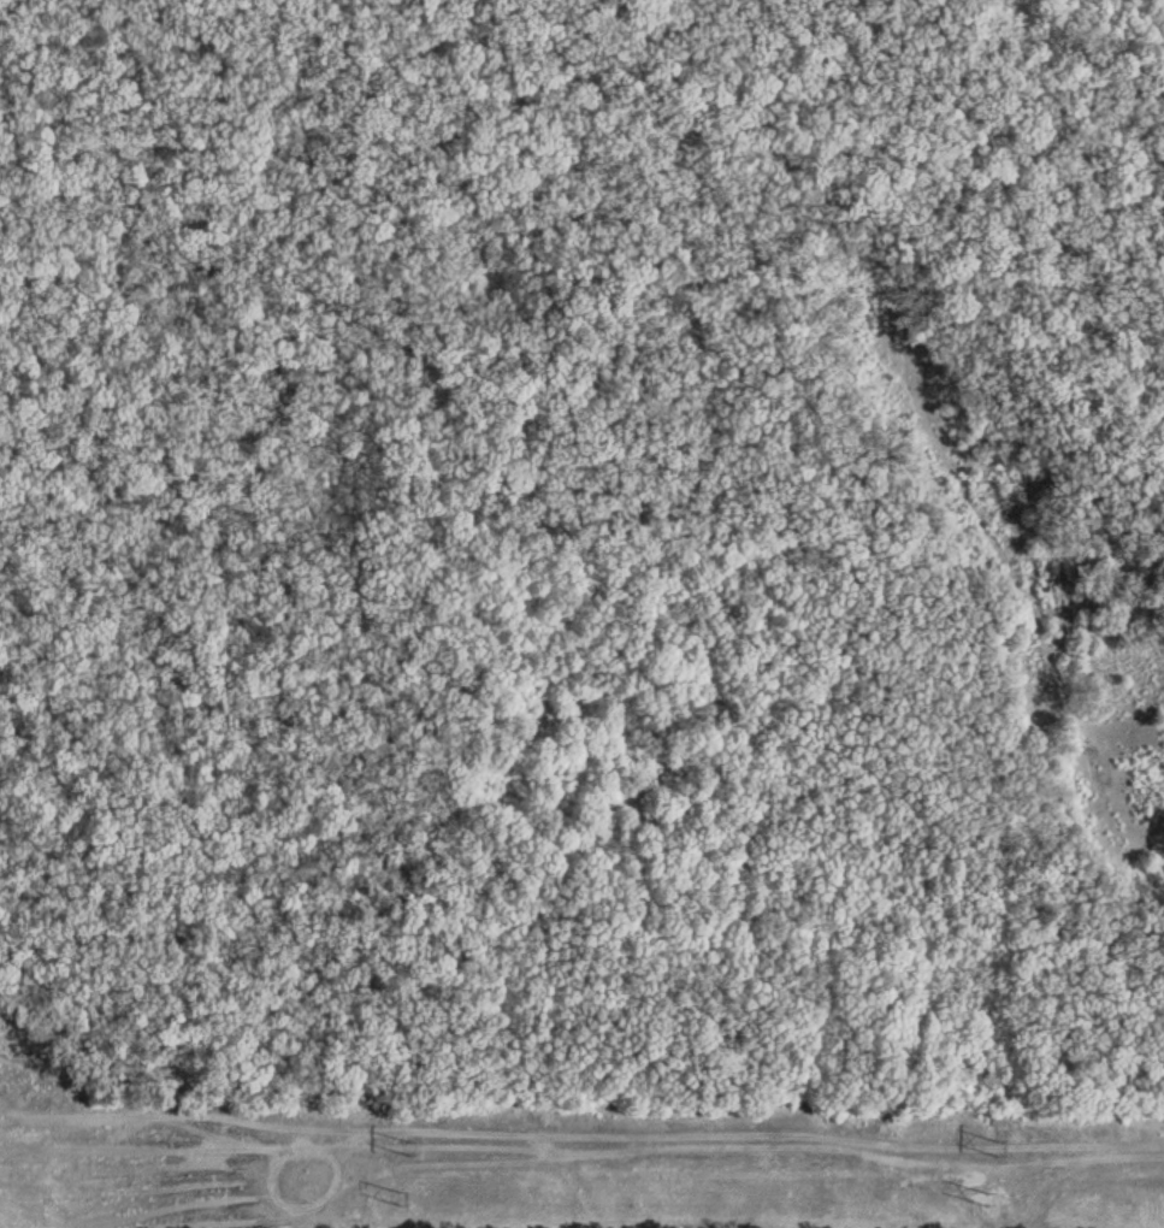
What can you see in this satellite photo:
power tower: (994, 1145)
power tower: (407, 1147)
power tower: (407, 1199)
power tower: (995, 1199)

